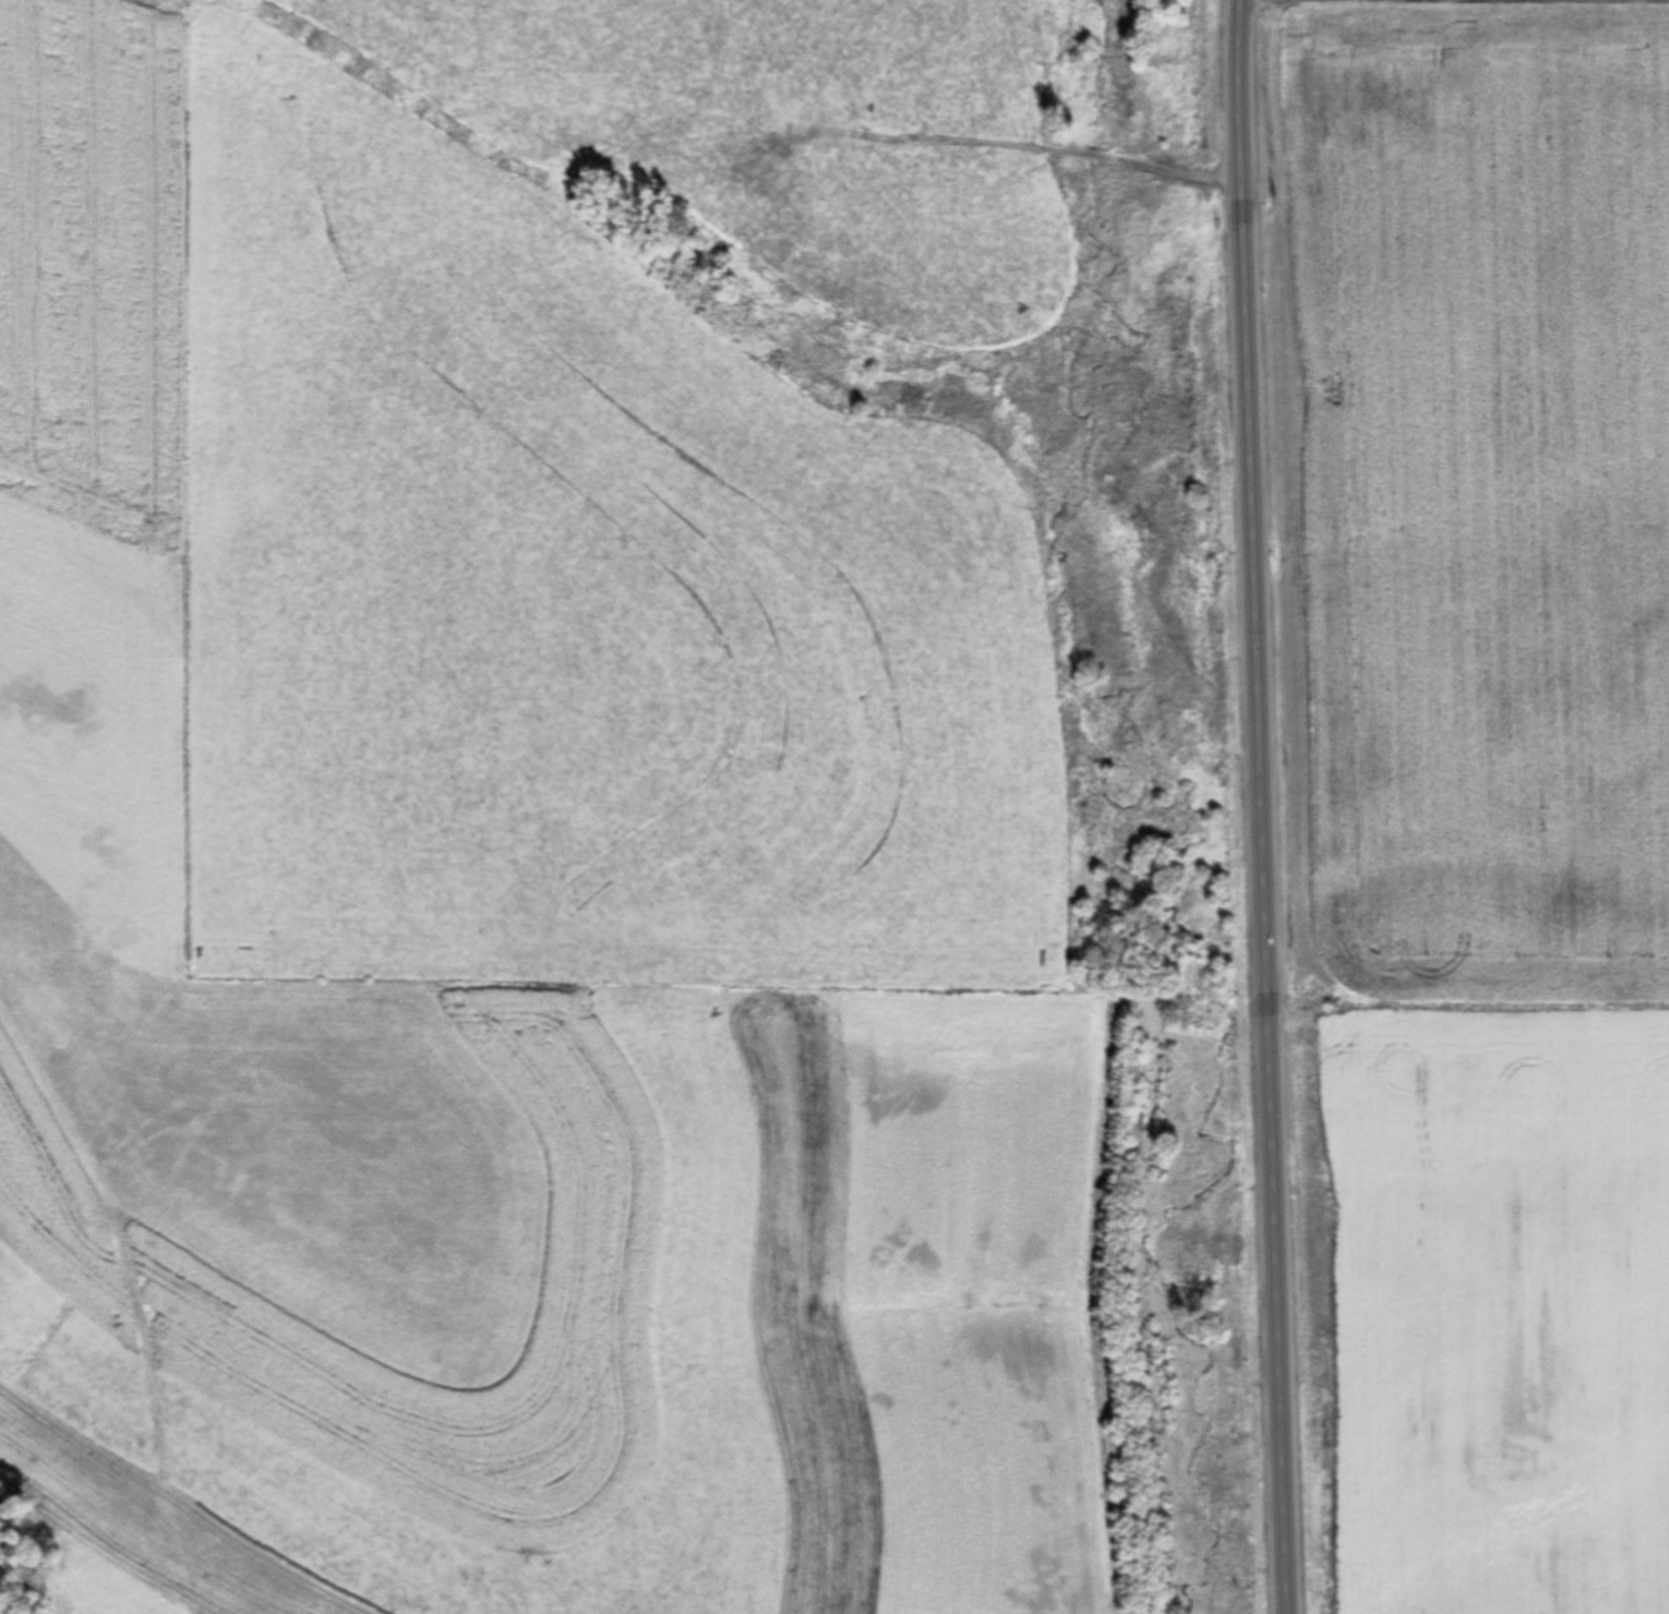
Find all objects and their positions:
road: (1265, 806)

